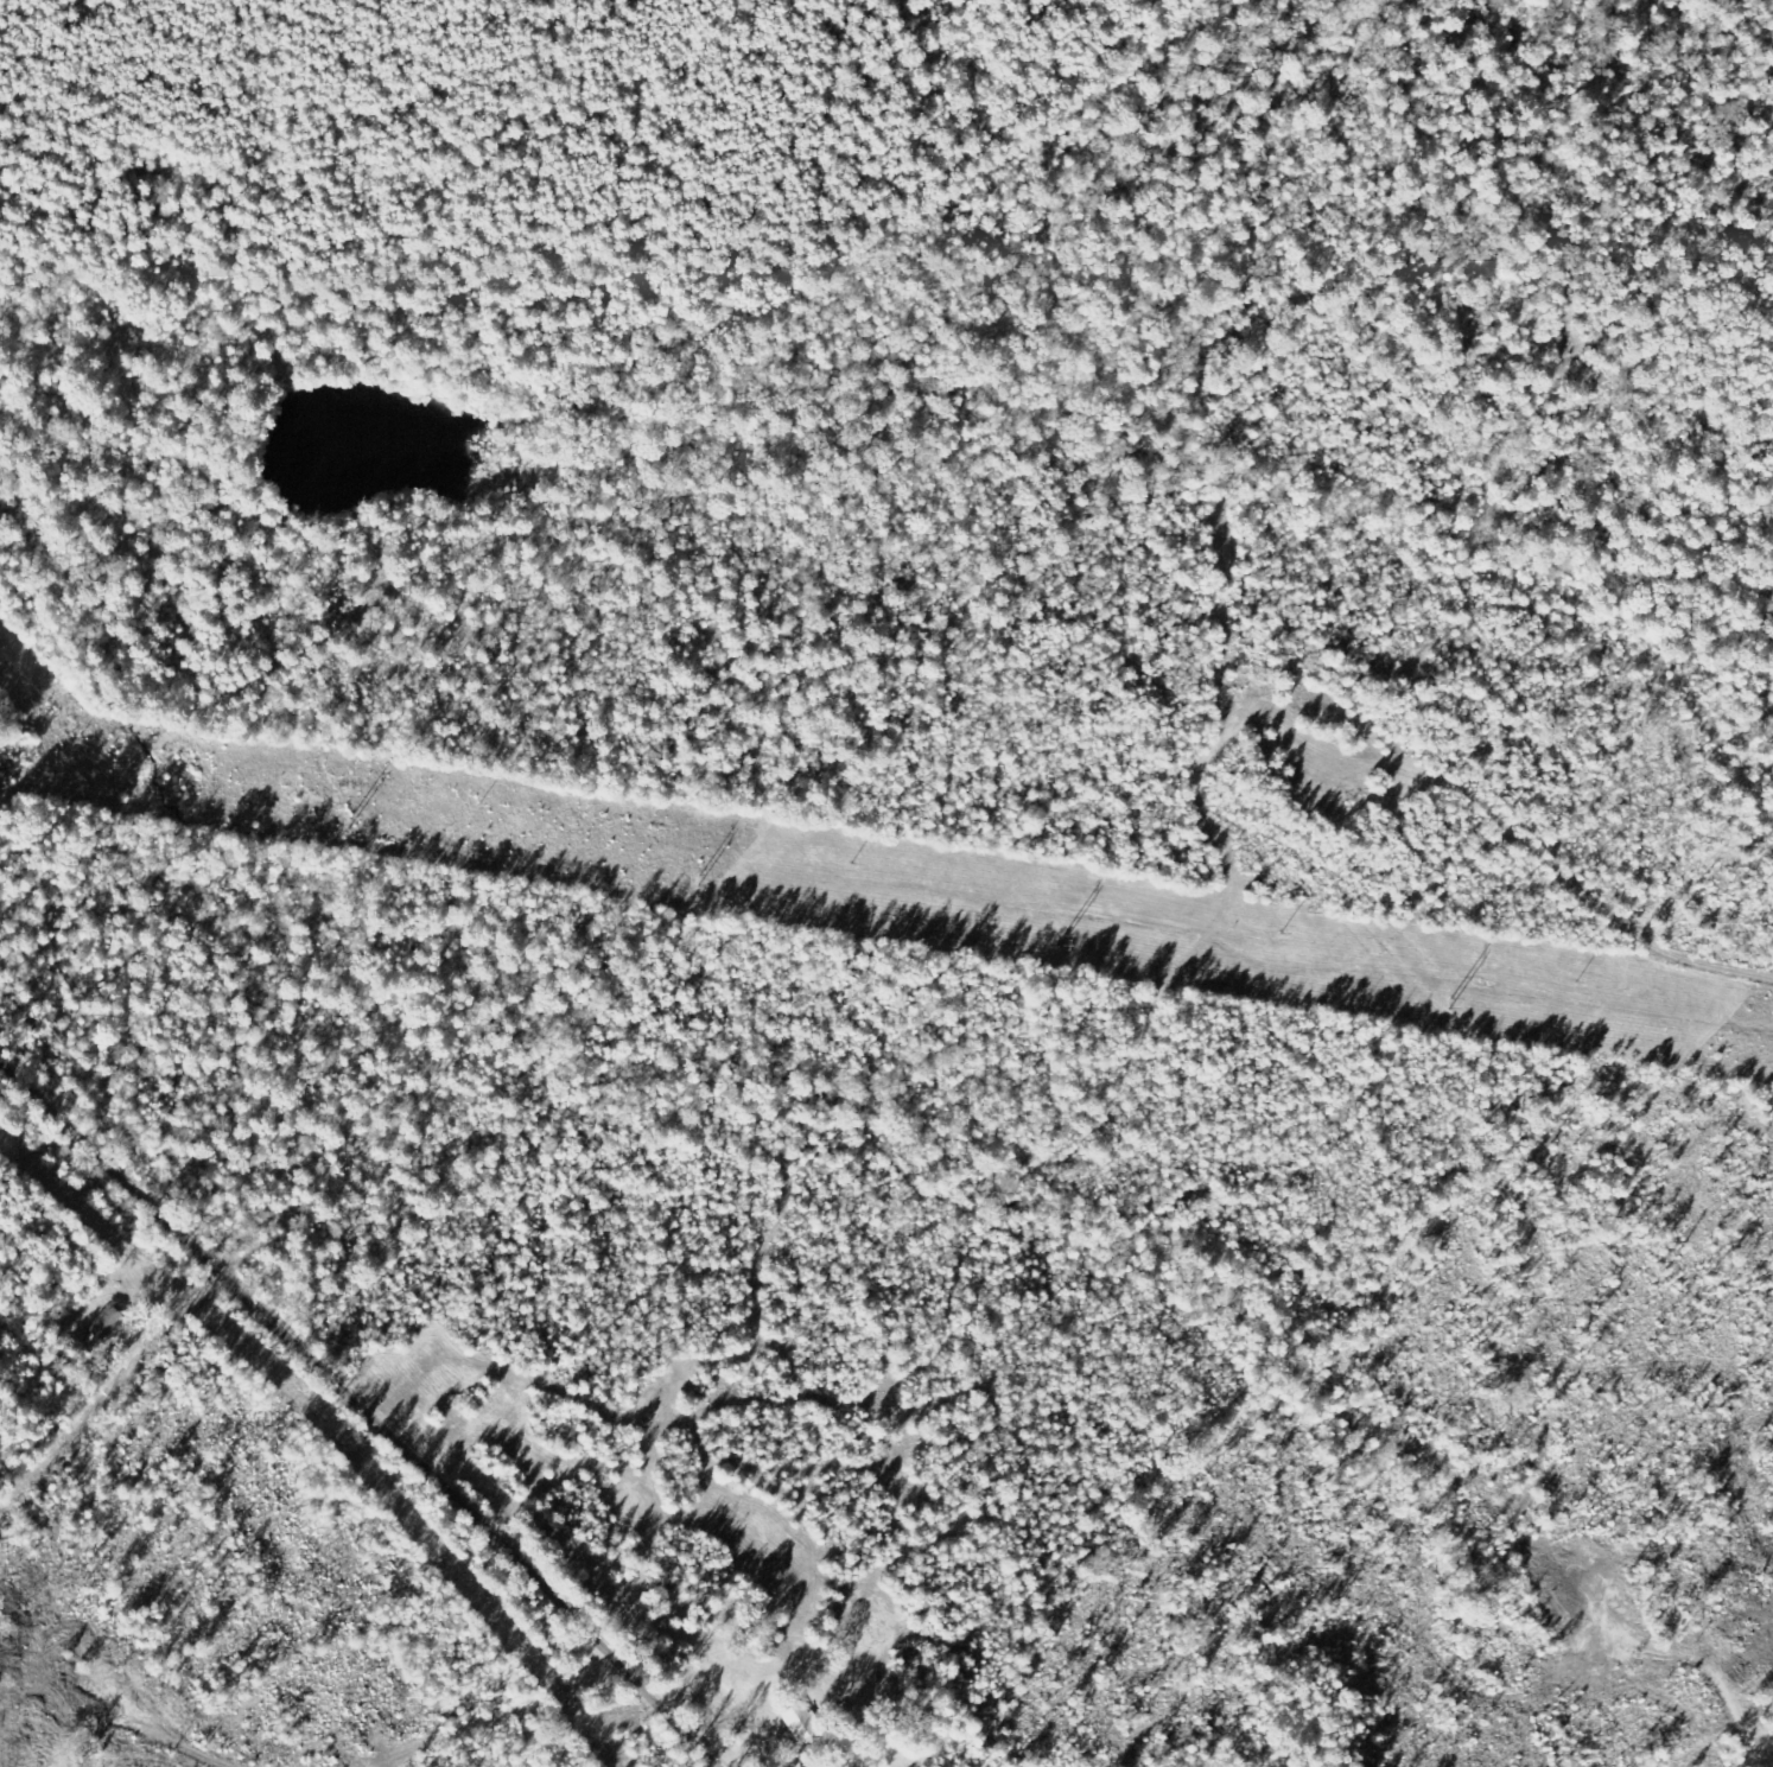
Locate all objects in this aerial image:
building: (103, 1328)
road: (361, 1413)
road: (503, 1712)
road: (1755, 1750)

